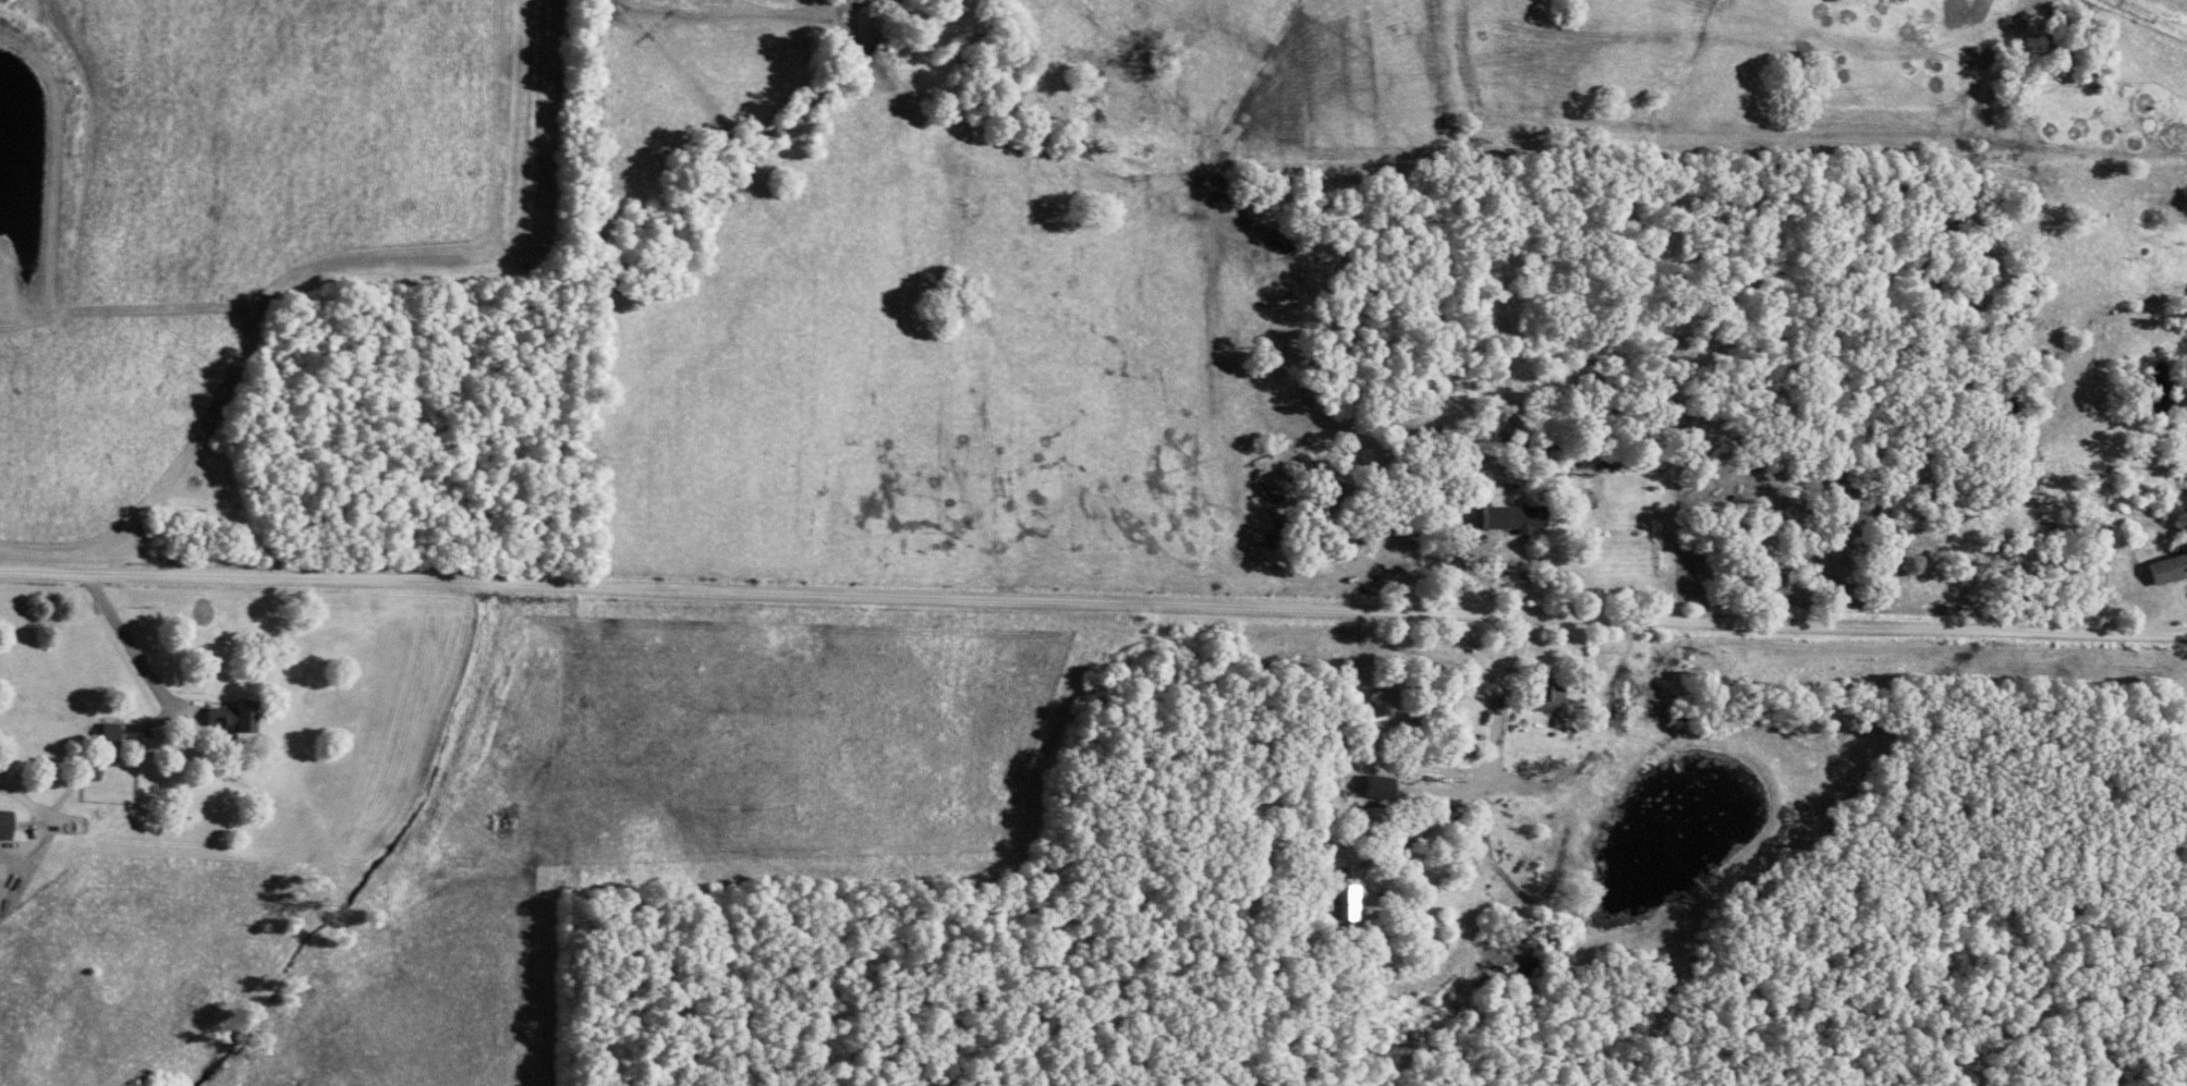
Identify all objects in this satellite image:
road: (1967, 57)
building: (1510, 513)
building: (2167, 564)
road: (1093, 600)
road: (130, 648)
building: (1547, 691)
building: (230, 716)
building: (107, 730)
building: (90, 769)
road: (27, 802)
building: (2, 820)

